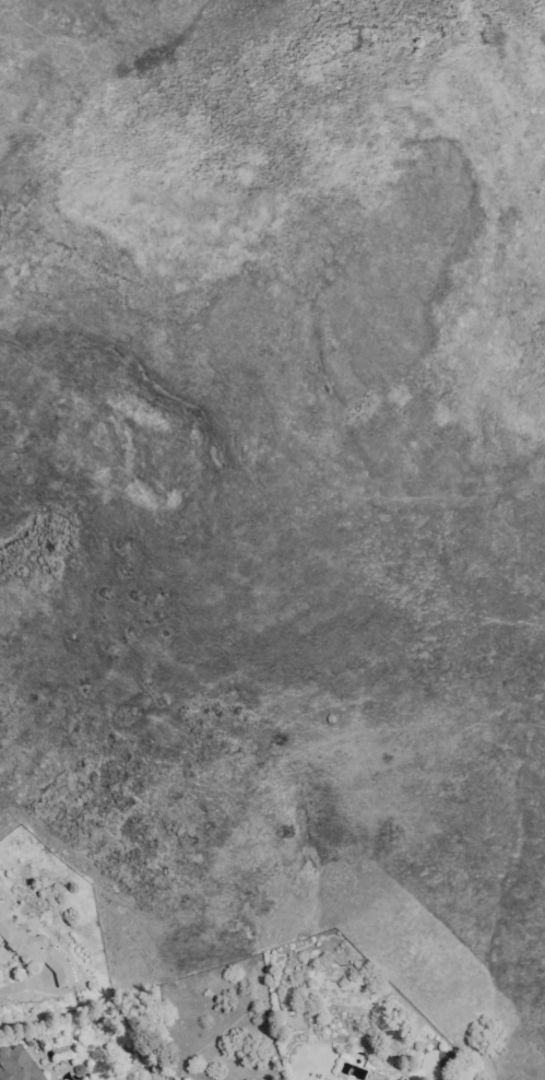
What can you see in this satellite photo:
building: (32, 948)
road: (17, 984)
building: (17, 1064)
building: (398, 1079)

